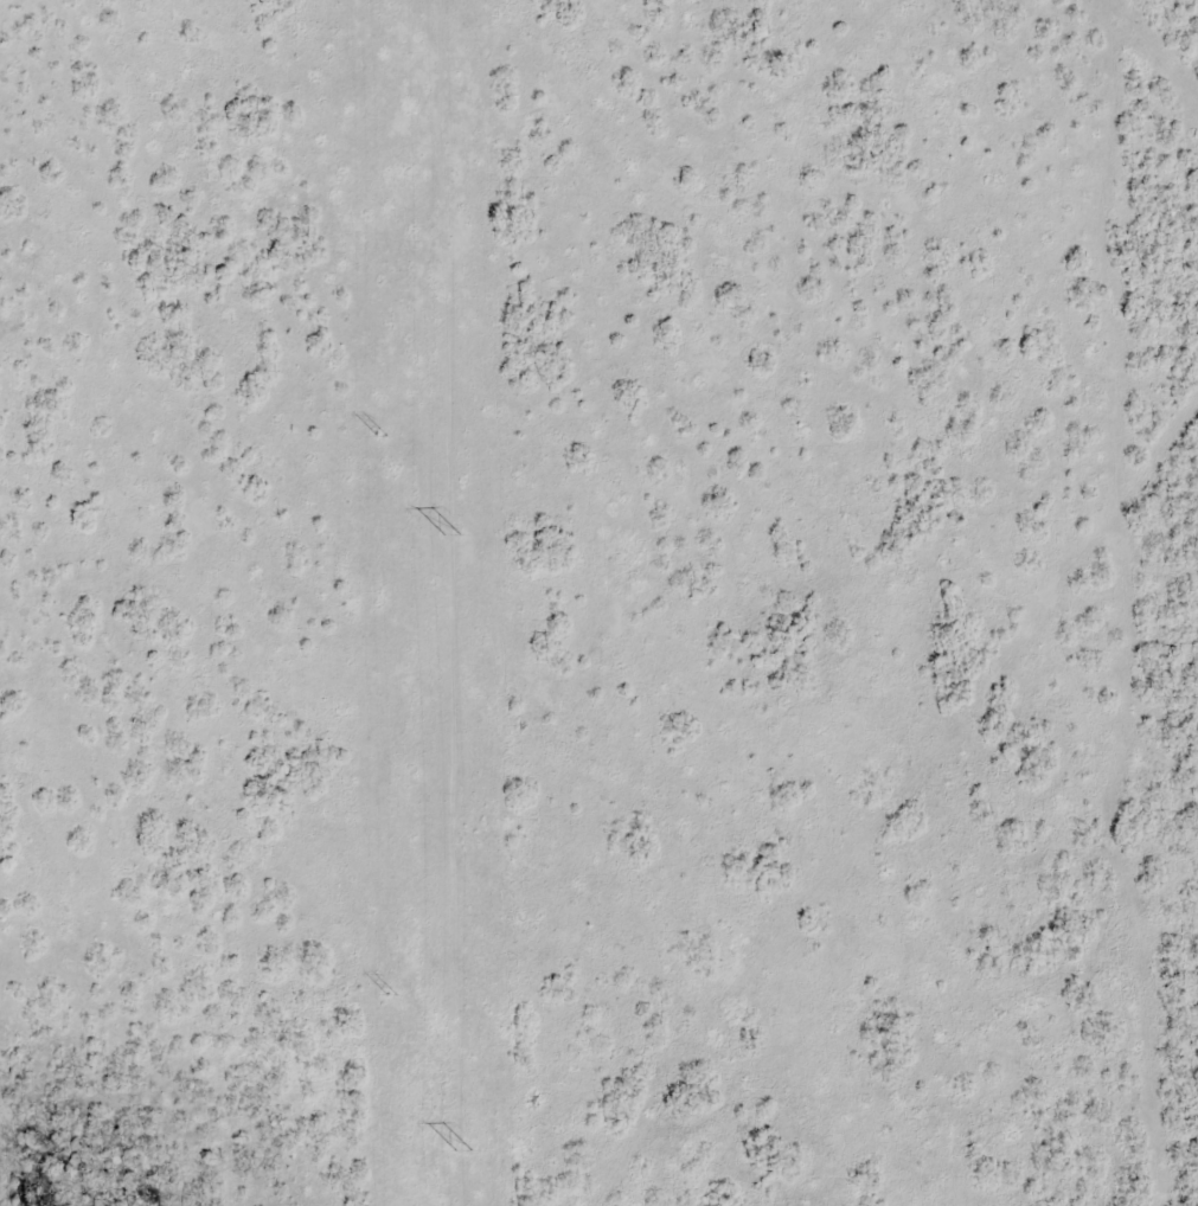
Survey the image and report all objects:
power tower: (382, 437)
power tower: (451, 535)
power tower: (392, 995)
power tower: (462, 1152)

